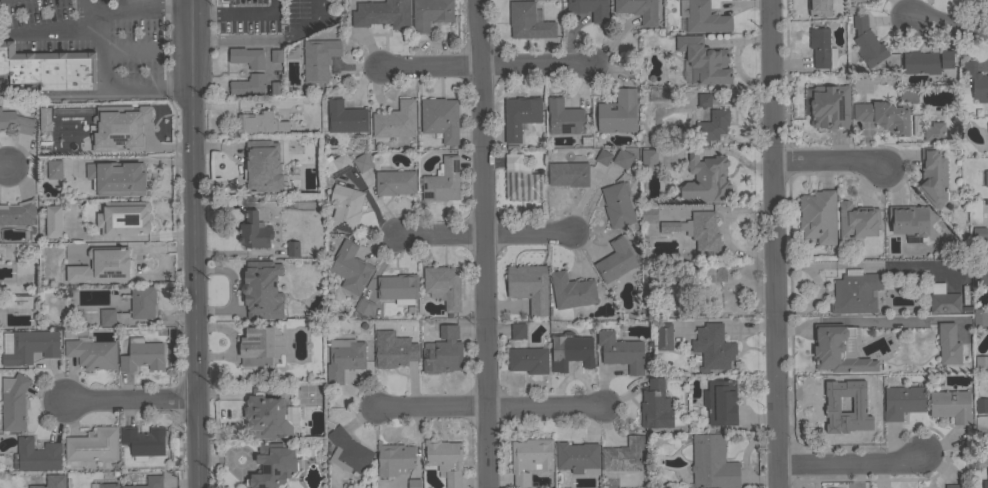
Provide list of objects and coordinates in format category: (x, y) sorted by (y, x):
building: (854, 0)
road: (132, 7)
building: (818, 8)
building: (590, 9)
building: (639, 10)
road: (237, 13)
building: (382, 13)
building: (430, 13)
road: (317, 15)
building: (703, 17)
building: (528, 21)
road: (952, 28)
road: (50, 32)
road: (250, 40)
building: (865, 42)
building: (821, 48)
building: (277, 55)
building: (247, 57)
building: (319, 58)
building: (704, 60)
building: (927, 61)
road: (484, 66)
building: (48, 68)
building: (976, 80)
building: (247, 84)
road: (108, 86)
building: (277, 87)
building: (704, 99)
building: (829, 106)
building: (618, 112)
building: (520, 115)
building: (885, 115)
building: (345, 117)
building: (564, 117)
building: (440, 118)
building: (16, 120)
building: (39, 120)
building: (395, 121)
building: (259, 123)
building: (713, 124)
building: (113, 128)
building: (934, 131)
building: (986, 137)
building: (603, 157)
building: (623, 158)
building: (649, 159)
building: (362, 162)
road: (828, 162)
building: (338, 164)
building: (262, 165)
building: (54, 169)
road: (5, 172)
building: (568, 173)
building: (933, 176)
building: (118, 178)
building: (986, 178)
building: (706, 179)
building: (521, 180)
building: (442, 181)
building: (395, 182)
building: (617, 205)
building: (344, 208)
building: (17, 212)
building: (649, 214)
building: (818, 216)
building: (124, 218)
building: (909, 219)
building: (53, 220)
building: (857, 220)
building: (254, 231)
building: (697, 231)
building: (979, 233)
road: (482, 234)
road: (194, 243)
road: (482, 243)
road: (771, 244)
building: (293, 248)
building: (616, 260)
building: (102, 266)
building: (350, 267)
building: (648, 270)
building: (712, 271)
building: (19, 274)
building: (980, 274)
building: (444, 285)
building: (397, 286)
building: (529, 286)
building: (262, 290)
building: (572, 291)
building: (855, 292)
building: (943, 299)
building: (143, 301)
building: (18, 302)
building: (676, 305)
building: (365, 306)
building: (107, 317)
building: (980, 317)
building: (518, 331)
building: (664, 336)
building: (948, 344)
building: (28, 346)
building: (257, 346)
building: (713, 346)
building: (839, 349)
building: (571, 350)
building: (394, 351)
building: (443, 351)
building: (621, 351)
building: (92, 353)
building: (142, 355)
building: (344, 358)
building: (529, 359)
building: (981, 361)
road: (129, 399)
building: (903, 401)
building: (11, 402)
building: (721, 402)
building: (981, 404)
building: (656, 405)
building: (951, 405)
building: (842, 407)
road: (490, 408)
building: (266, 416)
building: (287, 418)
building: (981, 422)
building: (143, 441)
building: (93, 445)
building: (348, 451)
building: (36, 455)
building: (624, 455)
building: (577, 456)
building: (529, 457)
building: (394, 459)
building: (445, 459)
building: (712, 462)
building: (272, 466)
building: (987, 466)
road: (850, 467)
building: (149, 481)
building: (52, 482)
building: (414, 483)
building: (984, 484)
building: (108, 485)
building: (954, 486)

